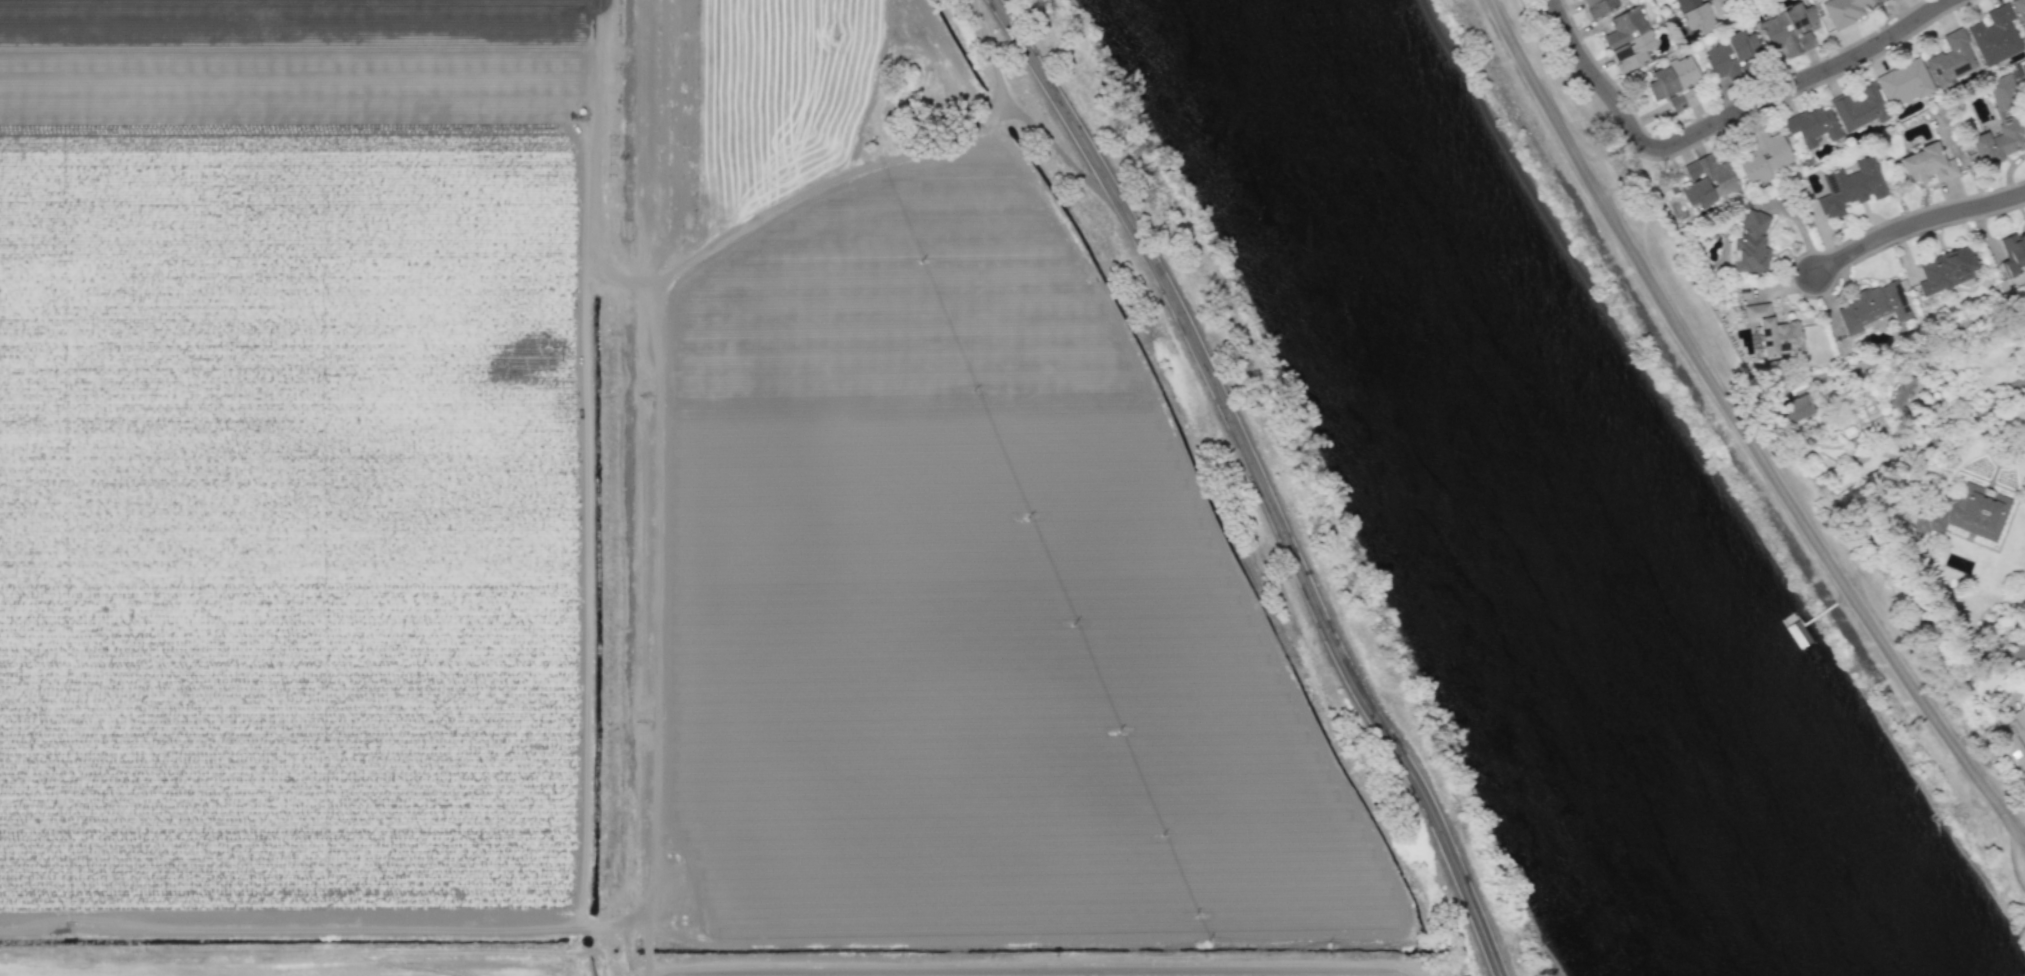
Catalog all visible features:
building: (1599, 6)
building: (2020, 10)
building: (1844, 11)
building: (1700, 13)
building: (1789, 29)
building: (1995, 35)
building: (1629, 39)
road: (991, 53)
building: (1731, 57)
building: (1950, 59)
building: (1903, 82)
building: (1675, 83)
building: (1859, 108)
road: (1725, 121)
building: (1999, 124)
building: (1813, 125)
road: (1062, 154)
building: (1764, 156)
building: (1926, 165)
building: (1708, 181)
road: (829, 182)
building: (1851, 187)
road: (1918, 223)
building: (1751, 244)
building: (2013, 258)
building: (1946, 270)
road: (636, 281)
building: (1873, 306)
building: (1774, 331)
road: (2020, 405)
building: (1865, 408)
building: (1792, 409)
road: (1736, 431)
road: (1258, 481)
river: (1499, 488)
building: (1969, 512)
road: (659, 591)
road: (2014, 649)
crop: (1055, 971)

